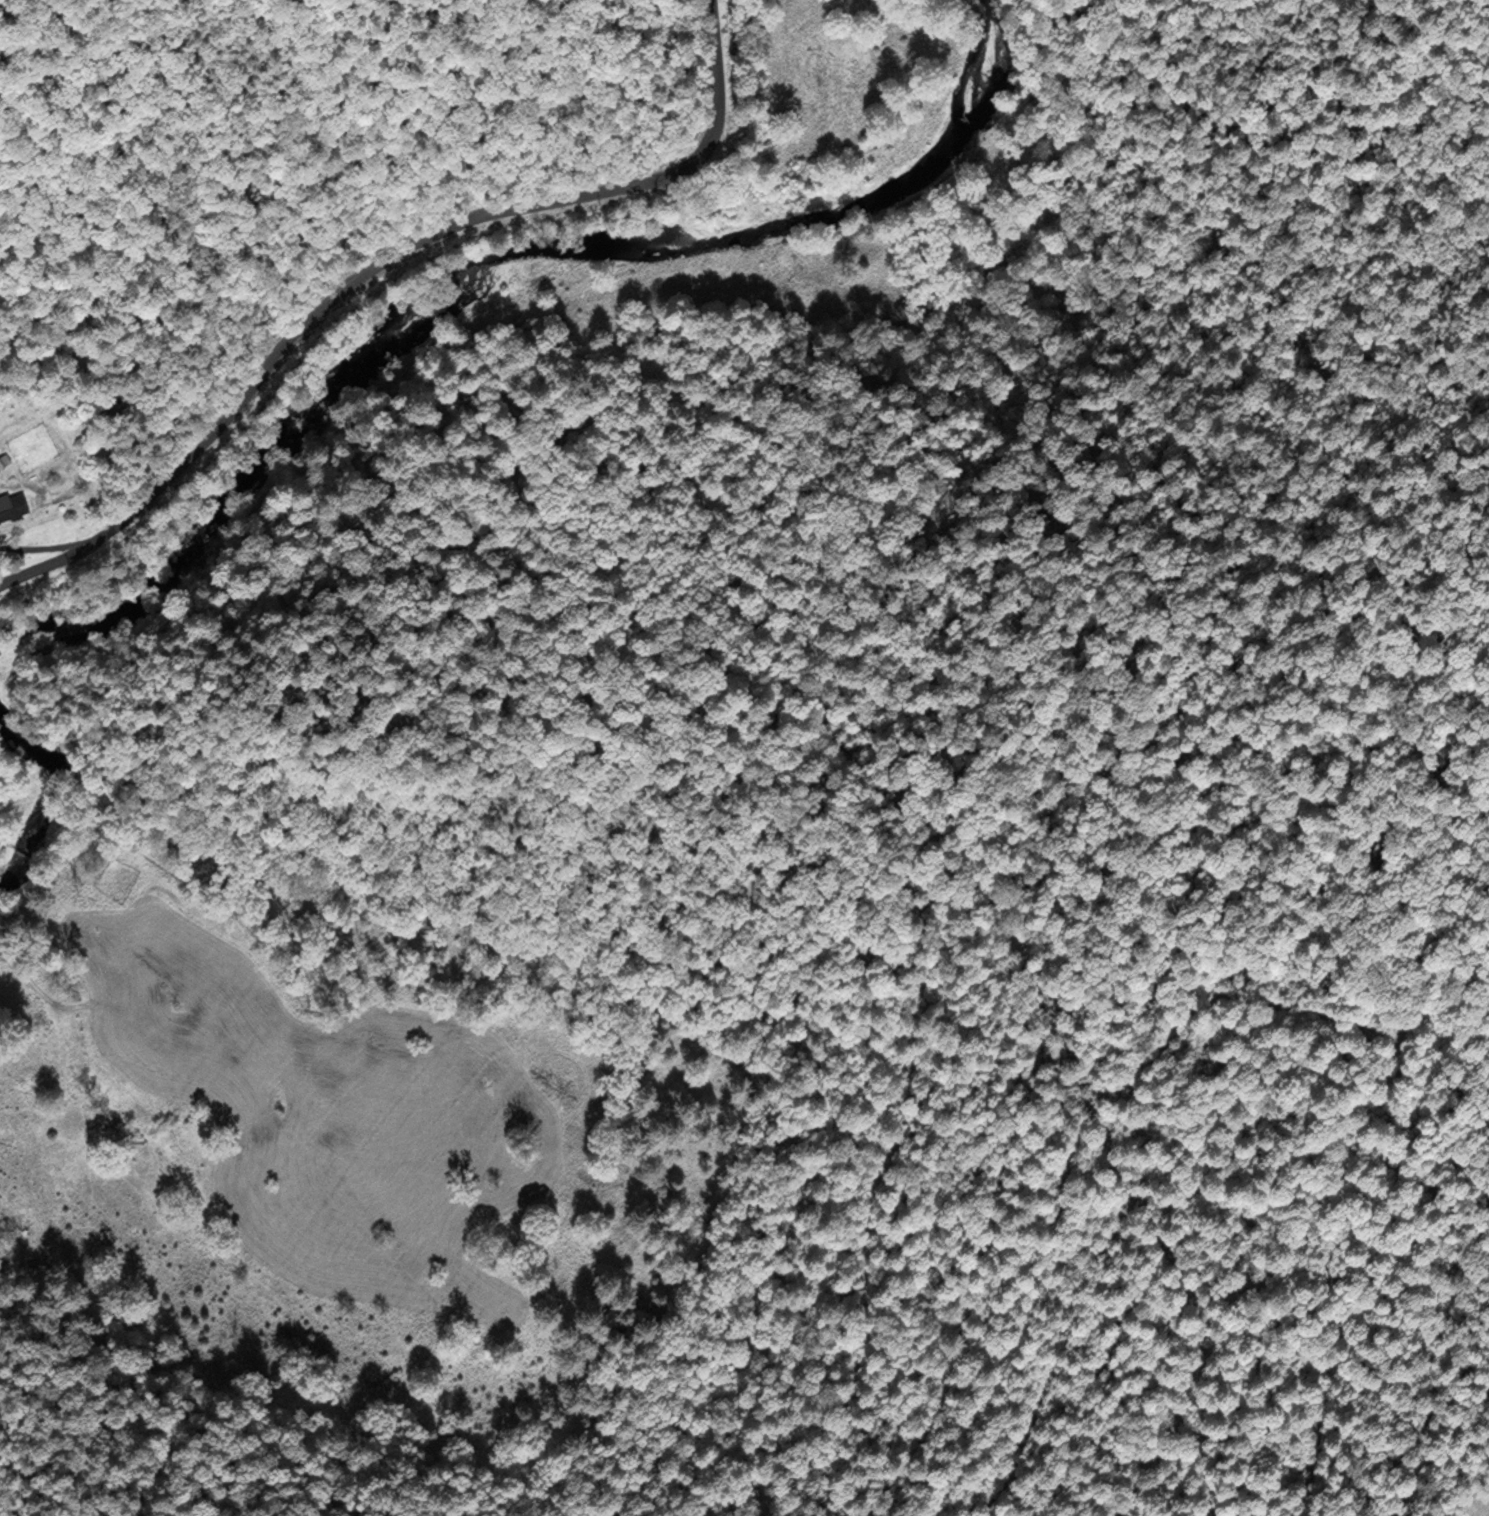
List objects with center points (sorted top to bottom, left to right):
road: (379, 265)
building: (4, 459)
building: (11, 506)
road: (45, 548)

